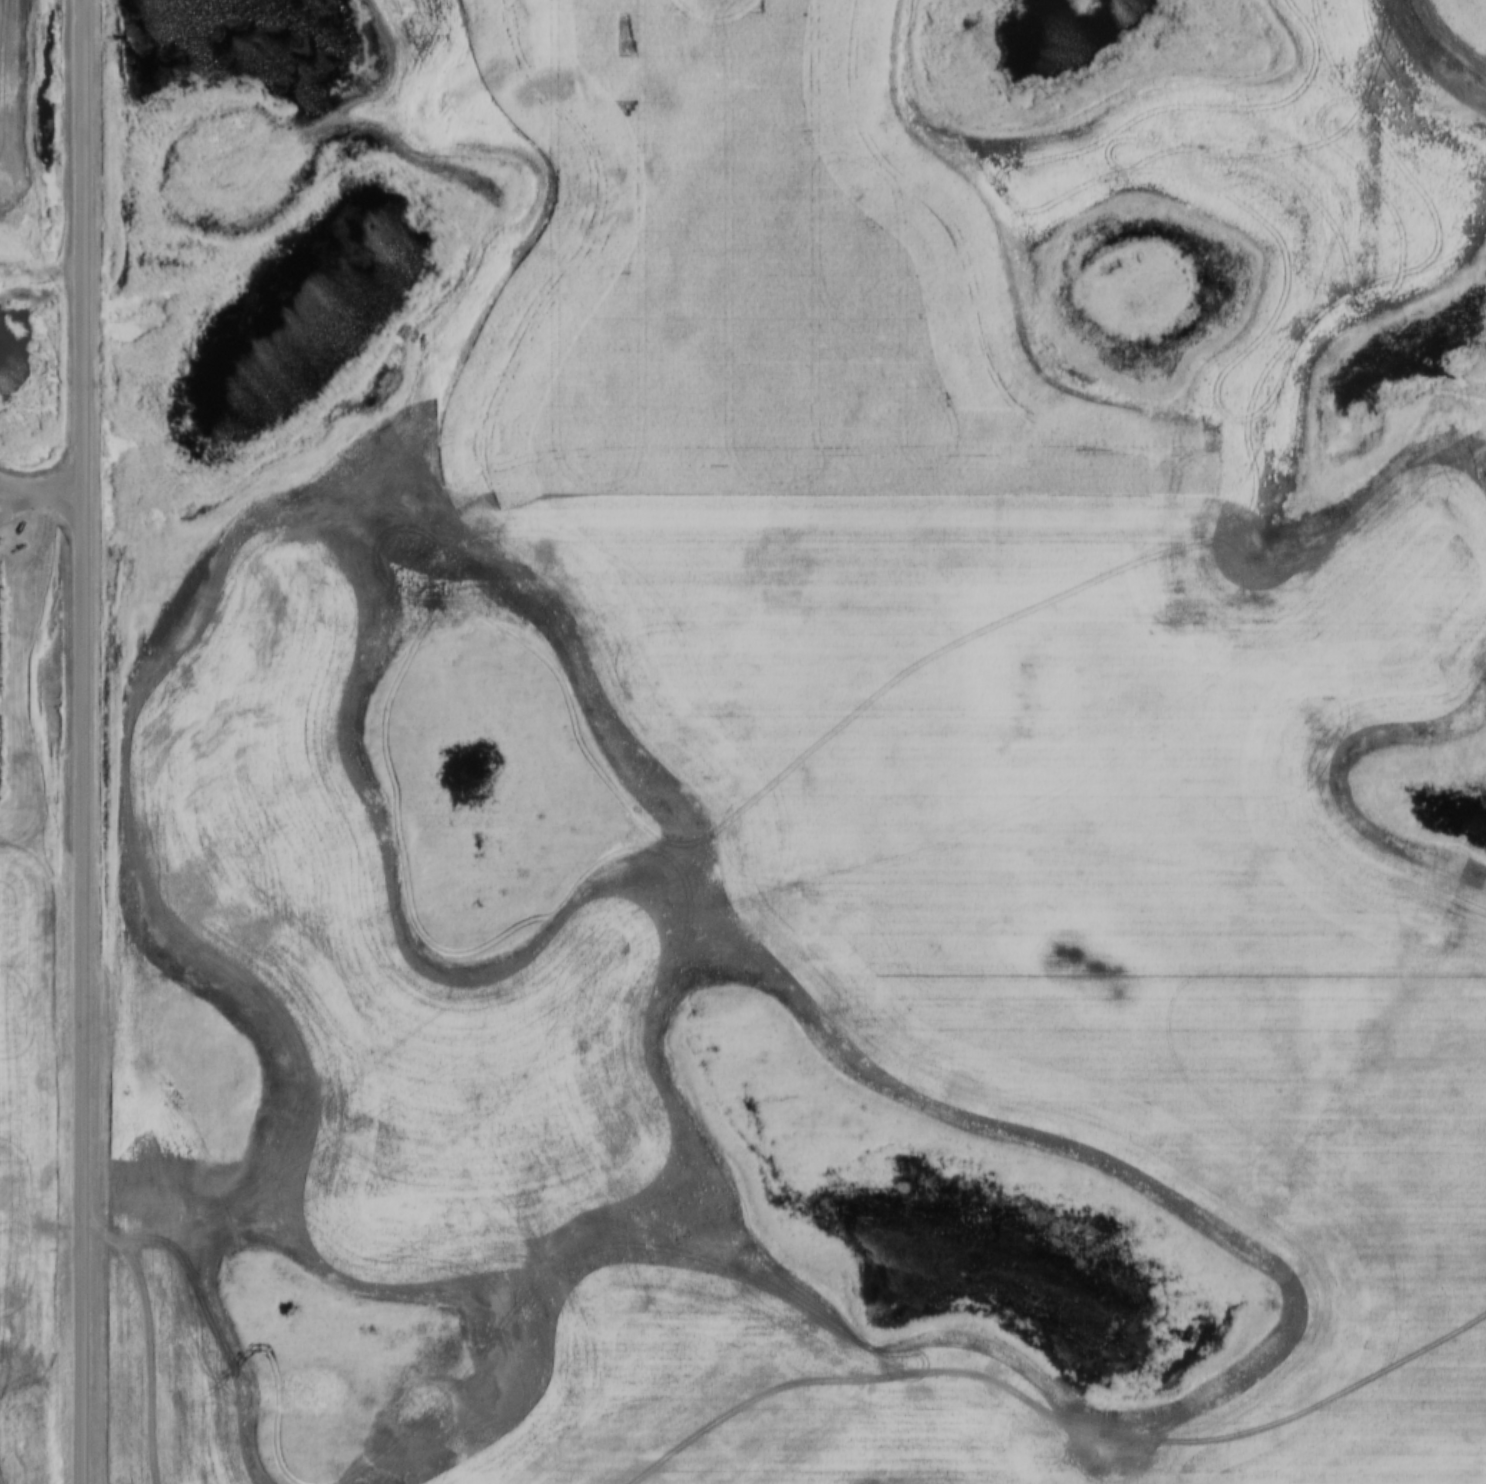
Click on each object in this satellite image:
road: (80, 742)

